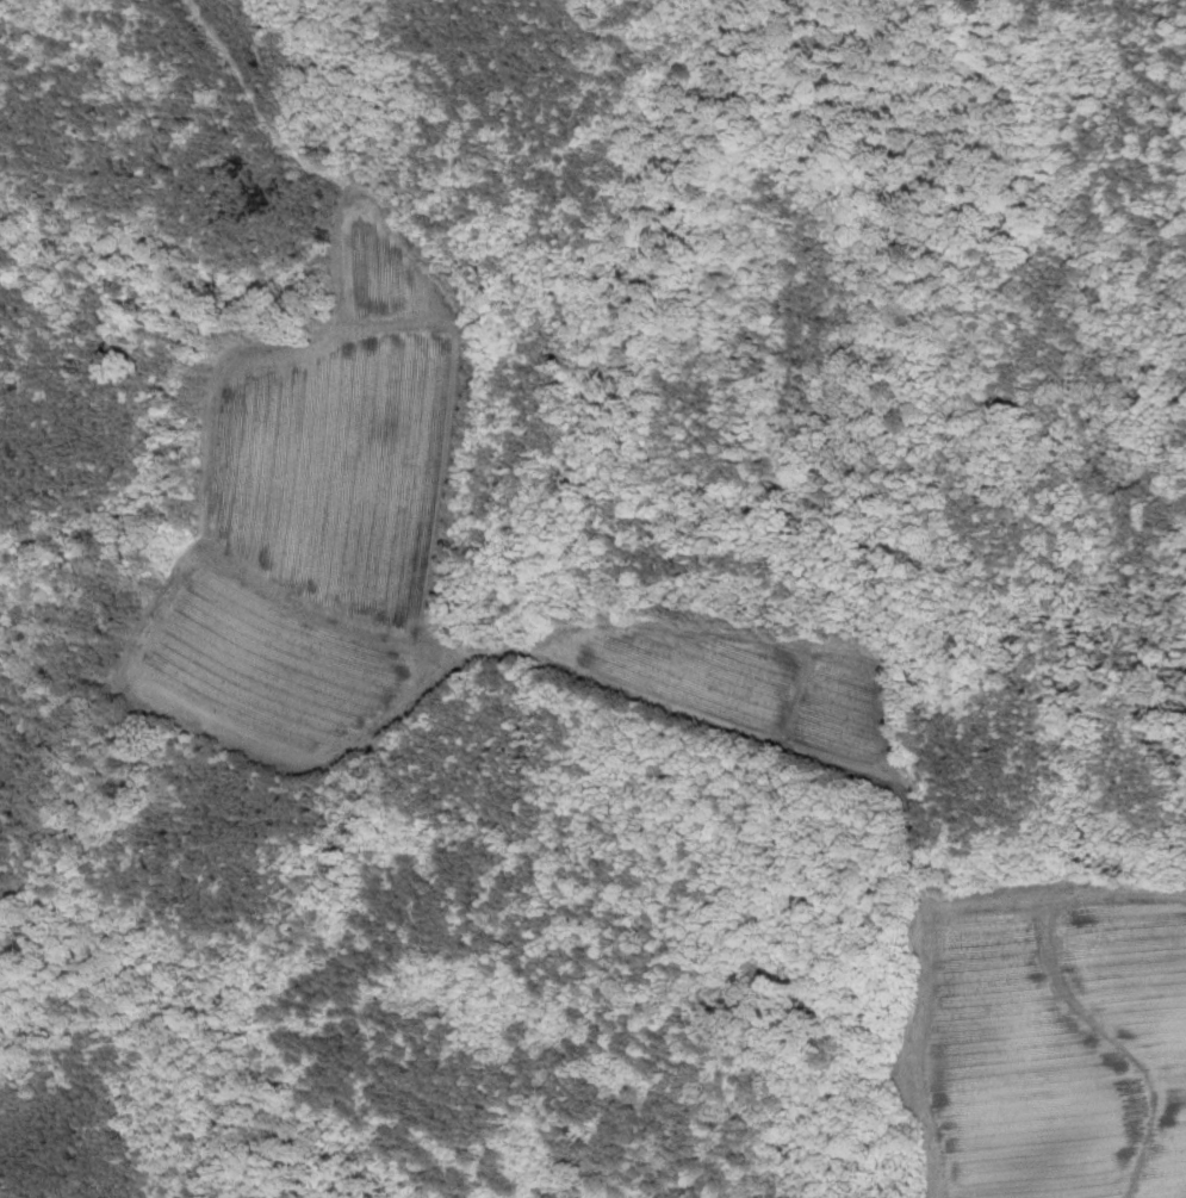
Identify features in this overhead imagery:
road: (886, 926)

